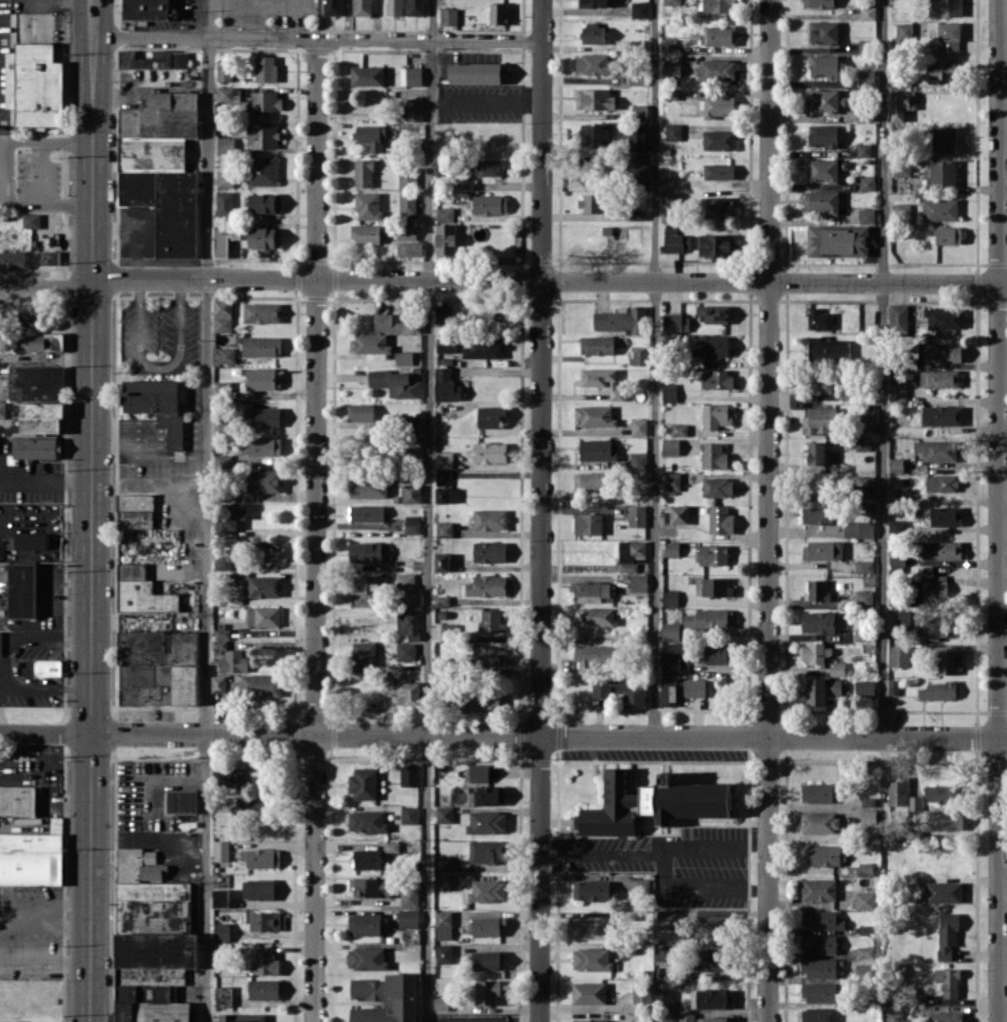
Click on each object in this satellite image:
building: (672, 2)
building: (594, 3)
building: (819, 3)
building: (716, 5)
building: (332, 7)
building: (362, 7)
building: (394, 7)
building: (415, 7)
building: (945, 8)
building: (146, 9)
building: (639, 9)
building: (867, 12)
building: (499, 13)
building: (448, 16)
building: (904, 30)
building: (823, 32)
building: (593, 33)
building: (718, 35)
building: (948, 36)
road: (316, 39)
building: (668, 44)
building: (154, 59)
building: (593, 63)
building: (823, 66)
building: (266, 68)
building: (671, 69)
building: (716, 69)
building: (942, 70)
building: (224, 71)
building: (476, 72)
building: (367, 75)
building: (410, 75)
building: (865, 77)
building: (636, 78)
building: (34, 84)
building: (225, 93)
building: (594, 98)
building: (825, 99)
building: (264, 100)
building: (901, 103)
building: (718, 105)
building: (414, 109)
building: (639, 111)
building: (673, 131)
building: (595, 133)
building: (262, 135)
building: (371, 135)
building: (823, 135)
building: (637, 137)
building: (718, 139)
building: (943, 140)
road: (21, 142)
road: (67, 142)
building: (225, 144)
building: (863, 150)
flagpole: (55, 157)
road: (0, 167)
building: (162, 167)
building: (490, 167)
building: (902, 167)
building: (262, 170)
building: (639, 170)
building: (822, 170)
building: (719, 171)
building: (363, 173)
building: (941, 173)
road: (42, 174)
building: (407, 177)
building: (225, 179)
building: (866, 183)
building: (822, 201)
building: (224, 202)
building: (407, 202)
building: (590, 202)
building: (265, 203)
building: (489, 204)
building: (368, 205)
road: (44, 206)
building: (717, 206)
building: (901, 208)
building: (940, 209)
building: (445, 213)
building: (866, 215)
building: (31, 220)
building: (406, 232)
building: (366, 233)
building: (948, 235)
building: (264, 237)
building: (224, 239)
building: (445, 239)
building: (837, 241)
building: (677, 242)
building: (717, 245)
building: (409, 248)
building: (48, 257)
building: (12, 259)
road: (559, 280)
road: (89, 282)
road: (33, 286)
building: (262, 312)
building: (713, 312)
building: (29, 313)
building: (442, 313)
building: (223, 315)
building: (409, 317)
building: (943, 317)
building: (898, 318)
building: (819, 319)
building: (622, 320)
building: (676, 322)
building: (39, 342)
building: (370, 343)
building: (446, 343)
building: (262, 345)
building: (597, 345)
building: (711, 345)
building: (483, 348)
building: (828, 349)
building: (939, 352)
building: (226, 354)
building: (639, 357)
building: (403, 358)
road: (158, 367)
road: (654, 367)
road: (882, 368)
building: (263, 378)
building: (939, 378)
building: (716, 379)
building: (603, 381)
building: (821, 381)
building: (396, 383)
building: (447, 385)
building: (223, 387)
building: (669, 392)
building: (897, 392)
building: (37, 397)
building: (156, 405)
building: (2, 409)
building: (360, 412)
building: (716, 415)
building: (942, 415)
building: (265, 416)
building: (595, 416)
building: (491, 417)
building: (819, 420)
building: (411, 423)
building: (868, 423)
building: (639, 426)
building: (679, 429)
building: (863, 444)
building: (265, 446)
building: (670, 446)
building: (37, 447)
building: (598, 449)
building: (937, 449)
building: (490, 452)
building: (816, 452)
building: (713, 455)
building: (444, 459)
building: (223, 461)
building: (638, 461)
building: (896, 464)
building: (443, 477)
building: (264, 480)
building: (590, 481)
building: (671, 481)
building: (941, 482)
building: (864, 483)
building: (717, 487)
building: (368, 488)
building: (411, 493)
building: (446, 494)
road: (90, 510)
building: (135, 510)
road: (207, 510)
road: (428, 510)
road: (769, 510)
road: (541, 511)
road: (998, 511)
building: (366, 512)
building: (677, 514)
building: (817, 515)
building: (637, 516)
building: (946, 516)
building: (229, 517)
building: (490, 518)
building: (720, 519)
building: (588, 523)
building: (412, 524)
building: (897, 526)
building: (444, 529)
building: (858, 529)
road: (316, 530)
building: (30, 540)
building: (407, 546)
building: (266, 548)
building: (671, 548)
building: (1, 549)
building: (941, 549)
building: (822, 550)
building: (365, 551)
building: (489, 551)
building: (630, 554)
building: (714, 554)
building: (222, 562)
building: (441, 562)
building: (864, 564)
building: (405, 580)
building: (638, 582)
building: (366, 584)
building: (146, 585)
building: (487, 585)
building: (263, 586)
building: (716, 587)
building: (22, 590)
building: (591, 590)
building: (817, 590)
building: (931, 590)
building: (411, 597)
building: (864, 597)
building: (670, 598)
building: (263, 616)
building: (597, 616)
building: (902, 617)
building: (709, 618)
building: (491, 621)
building: (818, 622)
building: (408, 624)
building: (940, 626)
building: (449, 630)
building: (670, 631)
building: (861, 634)
building: (1, 643)
building: (406, 651)
building: (717, 653)
building: (815, 653)
building: (489, 655)
building: (594, 655)
building: (899, 655)
building: (364, 656)
building: (237, 661)
building: (949, 661)
building: (673, 663)
building: (441, 664)
road: (8, 666)
building: (48, 667)
building: (158, 668)
building: (837, 668)
building: (218, 683)
building: (257, 685)
building: (893, 686)
building: (600, 687)
building: (694, 687)
building: (865, 687)
building: (822, 689)
building: (402, 690)
building: (668, 690)
building: (939, 690)
building: (630, 694)
building: (473, 698)
road: (2, 708)
road: (503, 735)
building: (479, 772)
building: (409, 774)
building: (225, 776)
building: (363, 782)
building: (817, 792)
building: (940, 793)
building: (490, 794)
building: (902, 795)
building: (17, 800)
building: (181, 801)
building: (651, 802)
building: (409, 814)
building: (444, 814)
building: (868, 816)
building: (945, 820)
building: (367, 821)
building: (486, 821)
building: (820, 822)
building: (224, 823)
building: (391, 846)
building: (221, 850)
building: (486, 851)
road: (655, 853)
building: (823, 855)
building: (31, 858)
building: (261, 858)
building: (367, 859)
building: (442, 863)
building: (441, 881)
building: (641, 885)
building: (370, 886)
road: (701, 887)
building: (258, 889)
building: (818, 889)
building: (487, 890)
building: (591, 890)
building: (944, 891)
building: (220, 897)
building: (409, 897)
building: (864, 900)
road: (44, 904)
building: (408, 918)
building: (666, 919)
building: (821, 920)
building: (265, 921)
building: (365, 924)
building: (443, 925)
building: (486, 925)
building: (710, 925)
building: (591, 927)
building: (866, 929)
building: (222, 931)
building: (947, 934)
building: (151, 940)
building: (818, 943)
building: (444, 953)
building: (665, 954)
building: (366, 958)
building: (708, 958)
building: (591, 959)
building: (488, 960)
building: (265, 963)
road: (45, 964)
building: (821, 967)
building: (863, 968)
building: (948, 981)
building: (264, 989)
building: (487, 992)
building: (589, 992)
building: (641, 992)
building: (819, 992)
building: (223, 996)
building: (385, 998)
building: (663, 998)
building: (711, 998)
building: (918, 998)
building: (440, 1003)
building: (819, 1014)
building: (894, 1015)
building: (663, 1016)
building: (945, 1016)
building: (241, 1017)
building: (715, 1019)
building: (589, 1020)
building: (14, 1021)

